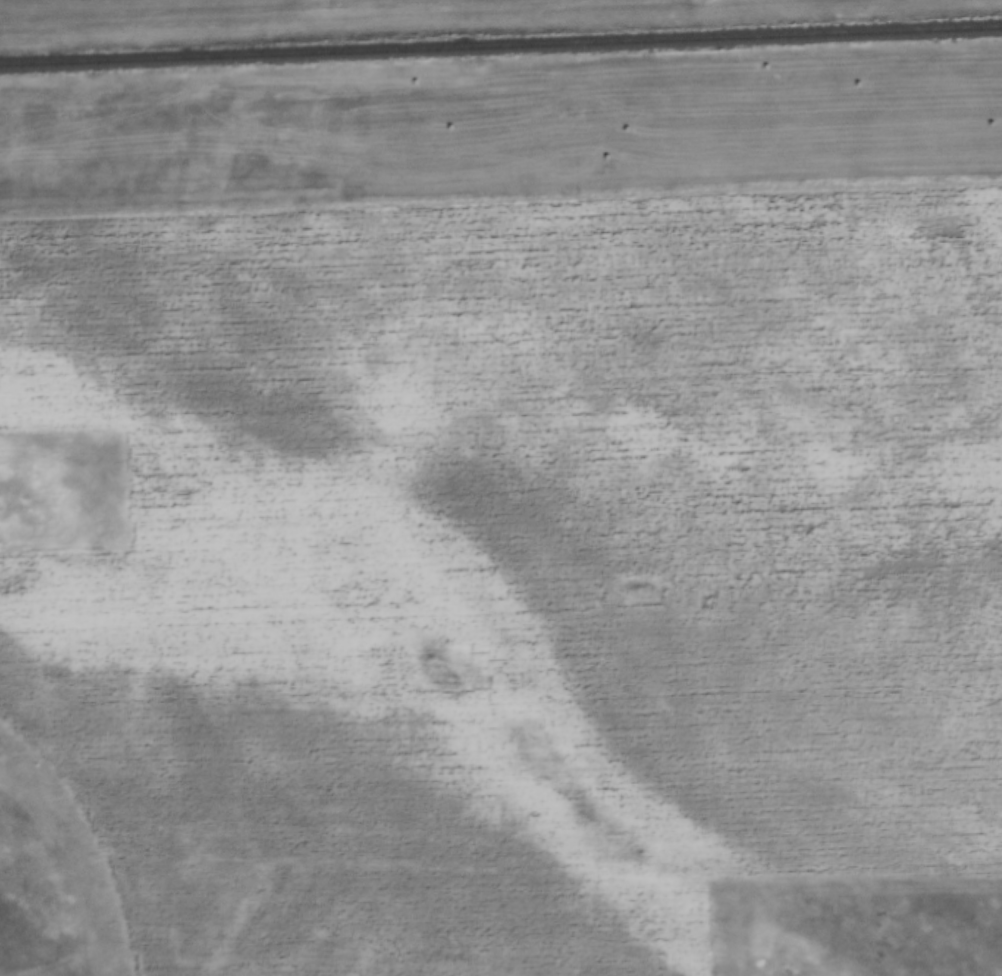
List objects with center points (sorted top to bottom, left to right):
railway: (500, 25)

